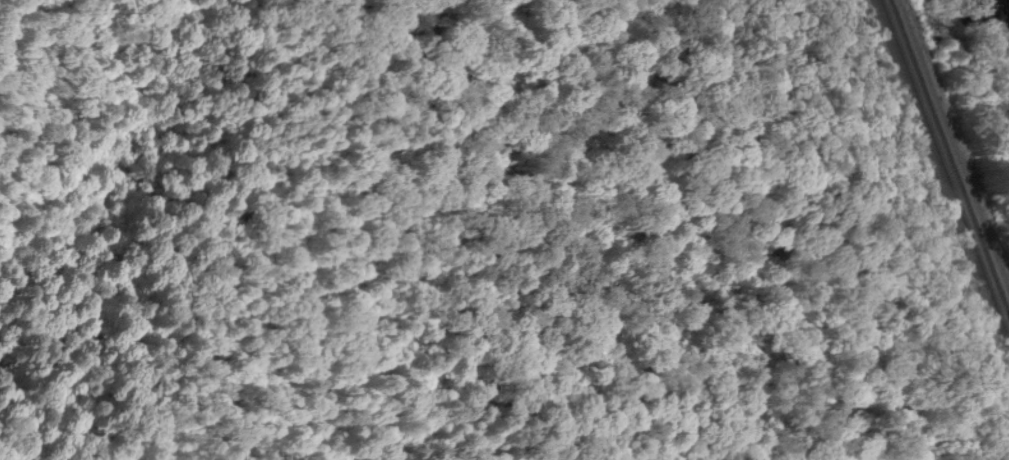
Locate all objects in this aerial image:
railway: (950, 156)
railway: (944, 170)
road: (24, 447)

